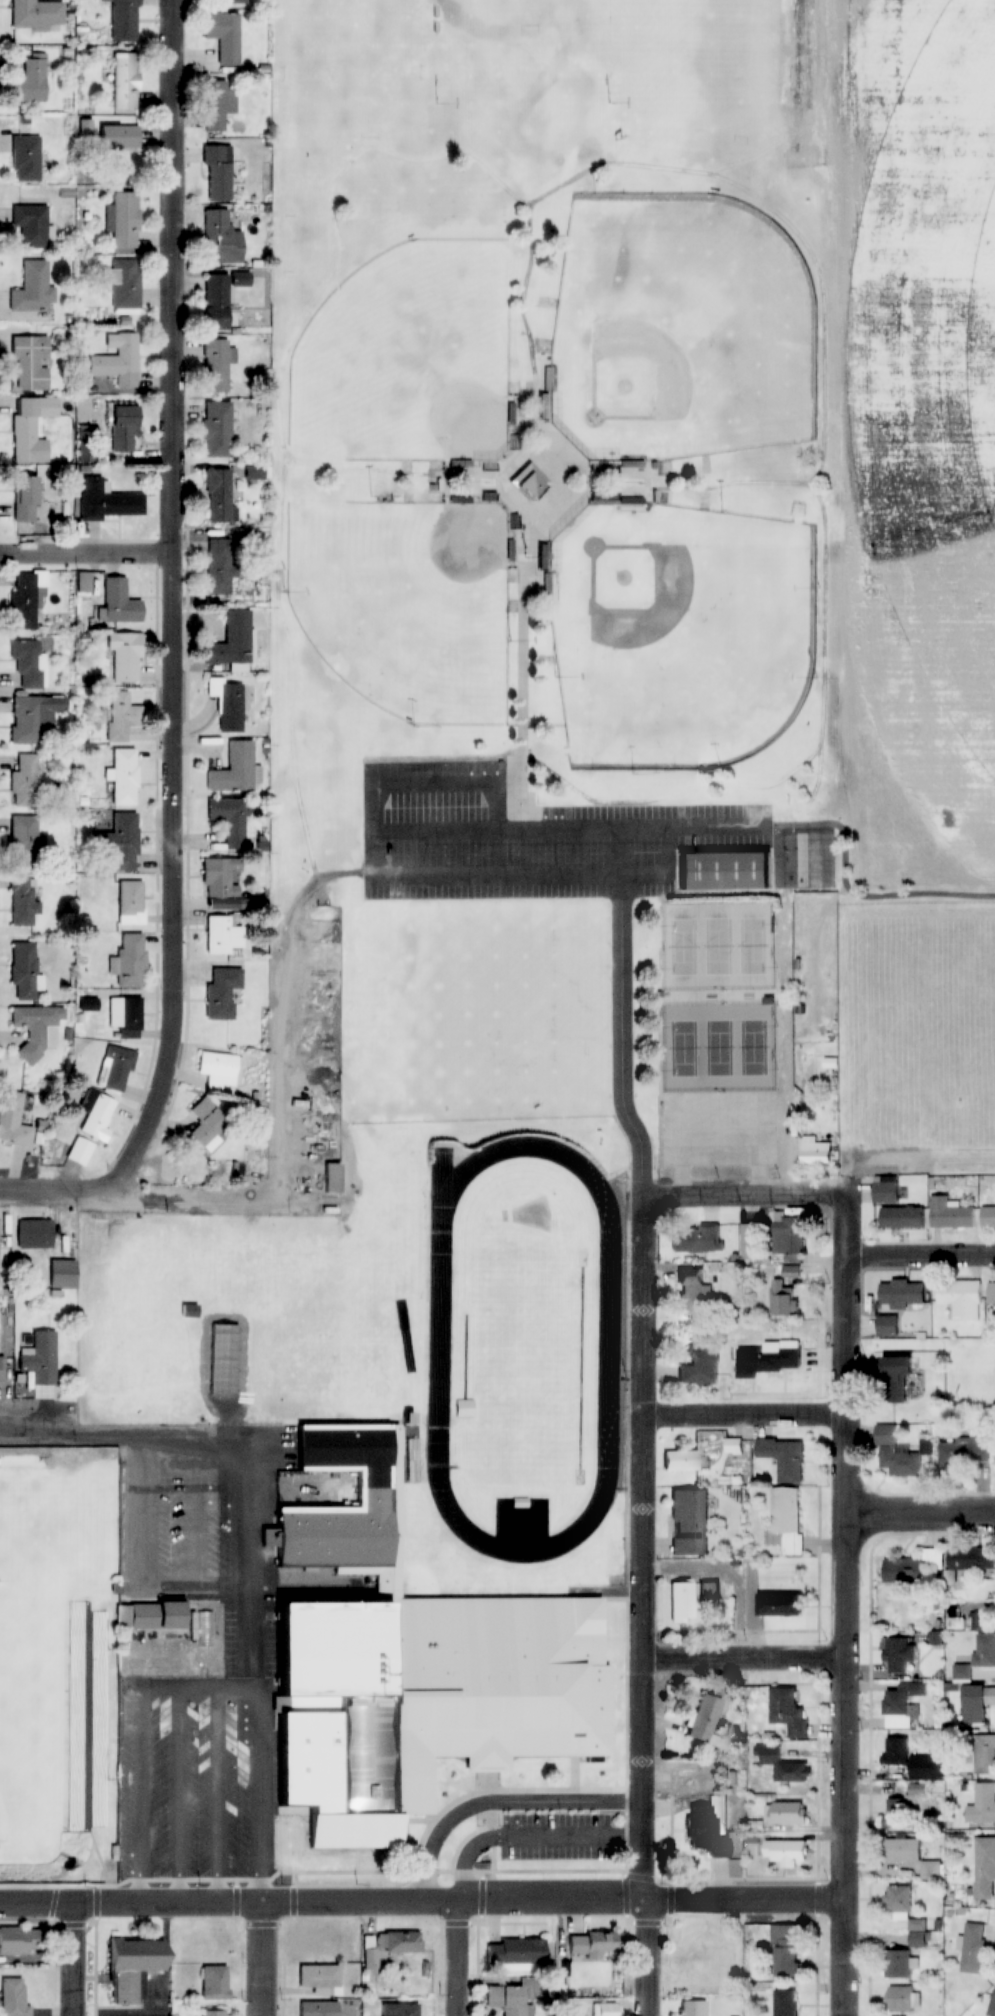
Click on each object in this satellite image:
building: (233, 2)
building: (35, 15)
building: (122, 18)
building: (222, 32)
park: (348, 44)
park: (525, 67)
park: (686, 68)
building: (28, 77)
building: (122, 79)
building: (216, 102)
building: (84, 122)
building: (116, 132)
road: (448, 155)
building: (26, 159)
building: (216, 173)
building: (125, 219)
building: (31, 225)
building: (221, 239)
building: (125, 287)
building: (33, 288)
road: (528, 288)
building: (219, 297)
park: (680, 331)
park: (411, 358)
building: (29, 360)
building: (118, 362)
building: (215, 366)
crop: (920, 421)
building: (30, 428)
building: (123, 429)
building: (217, 429)
building: (254, 474)
building: (528, 481)
road: (557, 482)
building: (219, 497)
building: (25, 498)
building: (108, 501)
road: (827, 544)
road: (86, 556)
building: (218, 567)
road: (528, 582)
building: (26, 599)
building: (119, 603)
park: (408, 603)
road: (172, 608)
park: (680, 632)
building: (231, 641)
building: (124, 657)
building: (29, 665)
building: (227, 705)
building: (122, 716)
building: (33, 717)
building: (233, 770)
road: (557, 773)
building: (124, 777)
building: (25, 782)
road: (300, 788)
building: (230, 821)
building: (24, 838)
parking lot: (524, 839)
building: (123, 841)
road: (846, 845)
building: (722, 871)
building: (218, 879)
building: (130, 899)
building: (23, 902)
building: (224, 904)
building: (222, 935)
park: (720, 945)
park: (754, 945)
park: (686, 946)
building: (129, 961)
building: (24, 971)
building: (222, 992)
park: (407, 1012)
park: (529, 1012)
building: (126, 1017)
park: (925, 1019)
building: (37, 1028)
park: (721, 1047)
park: (755, 1047)
park: (687, 1048)
road: (626, 1051)
building: (220, 1068)
building: (115, 1069)
building: (97, 1119)
building: (13, 1120)
building: (206, 1125)
parking lot: (723, 1128)
building: (818, 1148)
building: (79, 1152)
building: (331, 1177)
building: (886, 1193)
road: (746, 1195)
road: (103, 1201)
building: (951, 1214)
building: (988, 1217)
building: (902, 1218)
building: (34, 1234)
building: (696, 1238)
building: (788, 1238)
building: (752, 1243)
road: (921, 1256)
building: (62, 1274)
building: (991, 1293)
building: (693, 1294)
building: (902, 1294)
building: (782, 1299)
building: (960, 1299)
building: (888, 1325)
track: (441, 1346)
building: (40, 1358)
building: (768, 1359)
building: (700, 1366)
building: (2, 1370)
building: (896, 1377)
road: (747, 1416)
road: (98, 1435)
building: (963, 1453)
building: (896, 1455)
building: (784, 1457)
building: (679, 1460)
road: (197, 1512)
road: (921, 1514)
building: (787, 1517)
building: (689, 1521)
building: (971, 1558)
road: (142, 1568)
building: (914, 1568)
road: (848, 1587)
building: (708, 1593)
building: (681, 1602)
building: (779, 1605)
road: (649, 1609)
building: (147, 1615)
building: (206, 1629)
parking lot: (245, 1629)
road: (255, 1650)
building: (984, 1650)
road: (750, 1655)
building: (901, 1655)
building: (164, 1662)
building: (407, 1665)
building: (977, 1704)
building: (903, 1705)
building: (788, 1712)
building: (703, 1718)
road: (139, 1720)
park: (33, 1722)
building: (897, 1751)
building: (984, 1754)
building: (785, 1766)
building: (922, 1768)
road: (218, 1777)
road: (179, 1779)
road: (504, 1801)
building: (982, 1805)
building: (786, 1813)
building: (898, 1813)
building: (705, 1832)
road: (533, 1837)
parking lot: (559, 1837)
building: (902, 1850)
building: (785, 1852)
building: (984, 1868)
building: (932, 1871)
road: (421, 1898)
building: (899, 1901)
building: (918, 1933)
building: (17, 1940)
building: (401, 1941)
building: (595, 1944)
building: (973, 1948)
building: (514, 1951)
building: (785, 1951)
road: (73, 1957)
road: (265, 1957)
building: (370, 1957)
road: (458, 1957)
building: (899, 1964)
building: (130, 1965)
building: (318, 1977)
building: (214, 1982)
building: (12, 1997)
building: (504, 1999)
building: (900, 1999)
building: (785, 2002)
building: (992, 2007)
building: (318, 2008)
building: (693, 2008)
building: (397, 2009)
building: (604, 2009)
building: (212, 2013)

